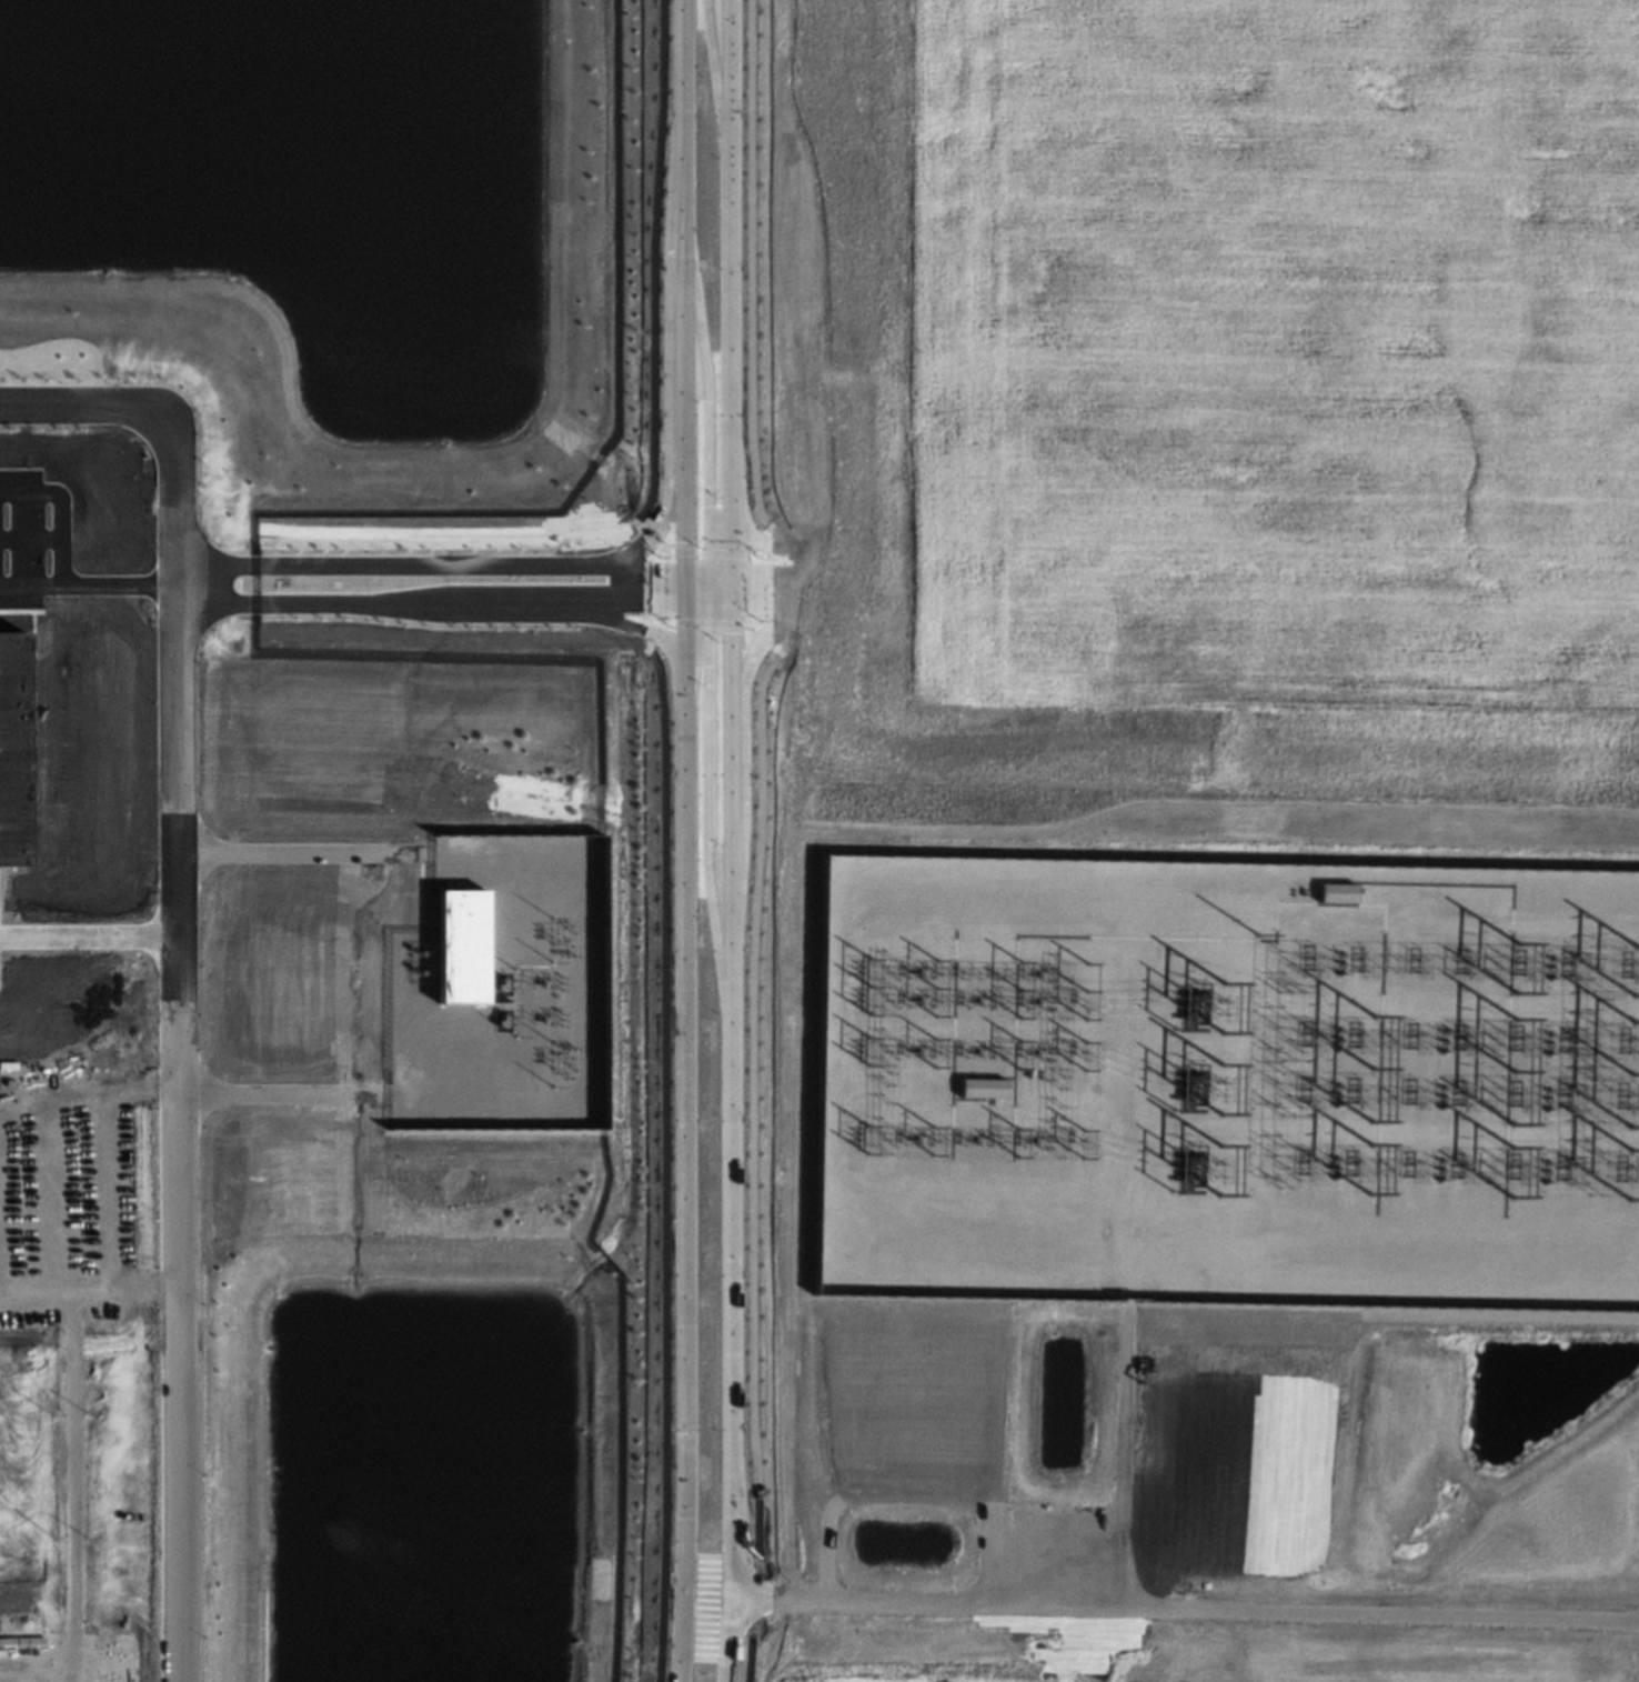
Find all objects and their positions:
road: (716, 72)
road: (657, 266)
road: (750, 271)
road: (684, 287)
road: (728, 287)
road: (668, 376)
road: (706, 425)
traffic signals: (706, 504)
road: (62, 508)
traffic signals: (656, 529)
road: (652, 537)
traffic signals: (685, 541)
road: (761, 544)
road: (710, 551)
road: (430, 564)
road: (697, 573)
road: (718, 573)
road: (664, 584)
road: (88, 585)
road: (698, 587)
road: (686, 588)
road: (728, 588)
road: (754, 589)
road: (714, 591)
road: (431, 601)
traffic signals: (655, 602)
road: (697, 602)
road: (718, 602)
road: (539, 613)
road: (708, 621)
road: (686, 629)
road: (656, 630)
traffic signals: (728, 632)
road: (763, 633)
traffic signals: (707, 665)
building: (11, 748)
road: (707, 797)
road: (1002, 838)
road: (306, 852)
building: (1337, 882)
building: (1335, 892)
road: (89, 934)
building: (462, 944)
road: (178, 963)
power substation: (503, 988)
road: (530, 994)
power substation: (1229, 1071)
road: (834, 1073)
building: (983, 1088)
road: (283, 1093)
road: (731, 1142)
road: (665, 1159)
road: (752, 1160)
road: (685, 1169)
parking lot: (48, 1173)
road: (108, 1189)
road: (51, 1193)
road: (1129, 1272)
road: (24, 1285)
road: (70, 1429)
road: (1125, 1442)
road: (777, 1589)
road: (972, 1591)
road: (1378, 1603)

